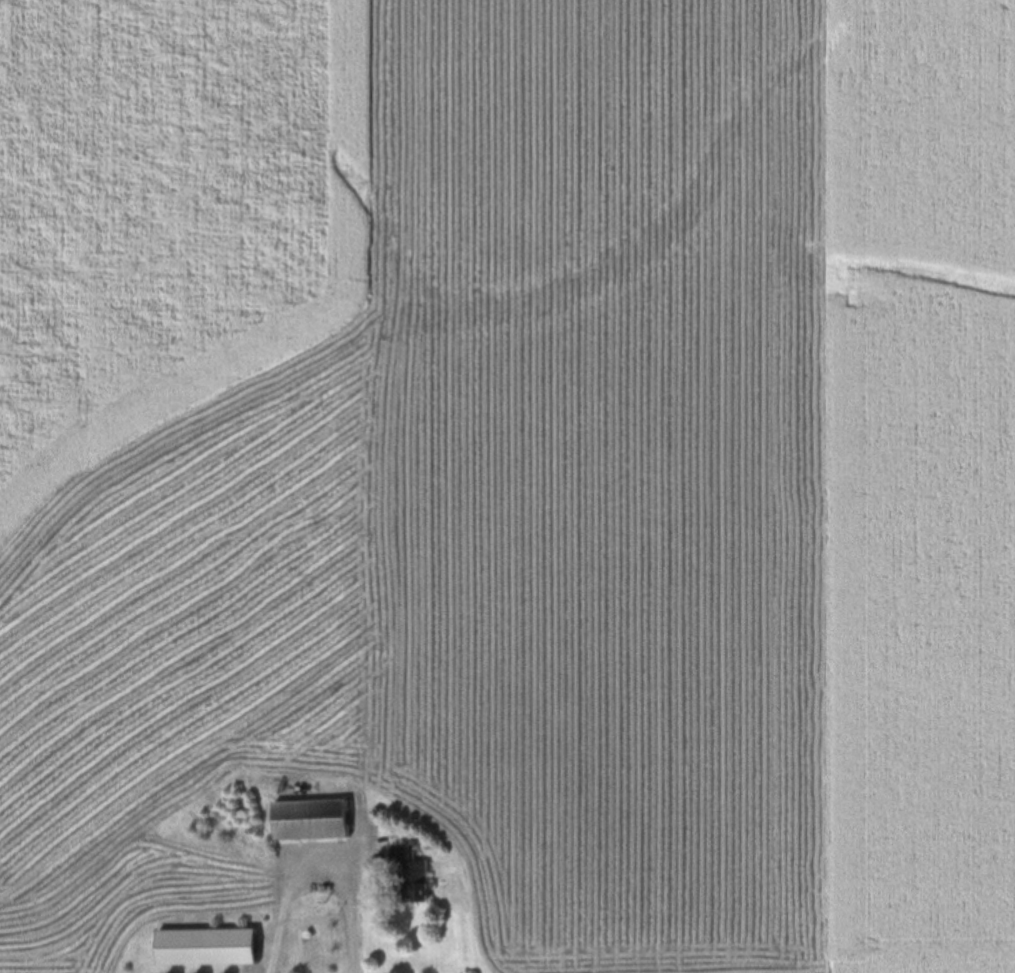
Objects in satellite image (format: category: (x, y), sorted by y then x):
building: (307, 820)
building: (408, 874)
building: (201, 947)

